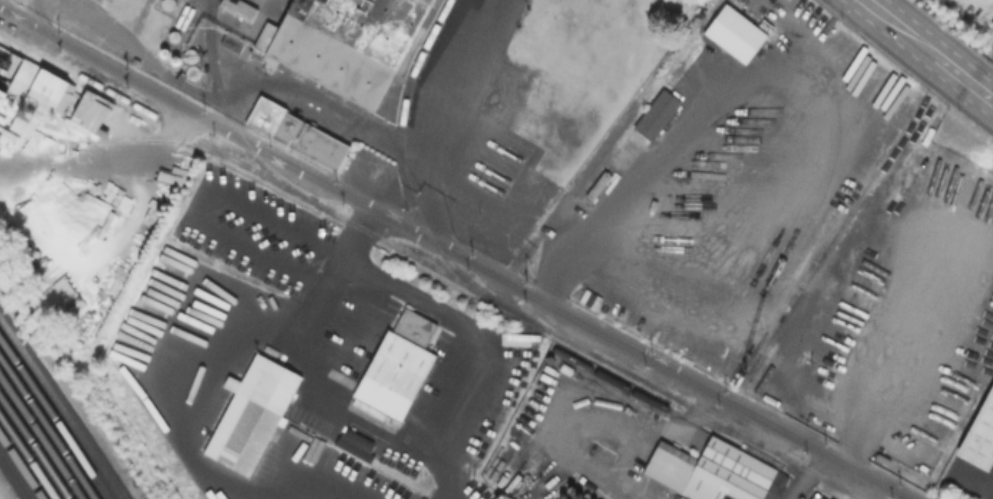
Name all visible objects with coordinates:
building: (240, 9)
road: (950, 33)
building: (736, 36)
building: (350, 42)
building: (233, 44)
road: (928, 50)
road: (98, 60)
road: (907, 67)
building: (16, 75)
building: (182, 79)
building: (46, 95)
building: (3, 100)
building: (93, 115)
building: (660, 116)
railway: (232, 122)
building: (302, 136)
railway: (126, 144)
road: (102, 158)
railway: (403, 170)
road: (636, 188)
road: (216, 207)
railway: (429, 268)
road: (550, 306)
road: (295, 326)
road: (914, 328)
building: (391, 362)
building: (723, 365)
railway: (60, 410)
road: (452, 411)
building: (246, 413)
railway: (53, 419)
road: (596, 421)
railway: (47, 429)
building: (973, 430)
railway: (40, 439)
building: (354, 443)
railway: (33, 448)
railway: (27, 458)
railway: (19, 469)
building: (710, 473)
road: (805, 476)
railway: (13, 479)

